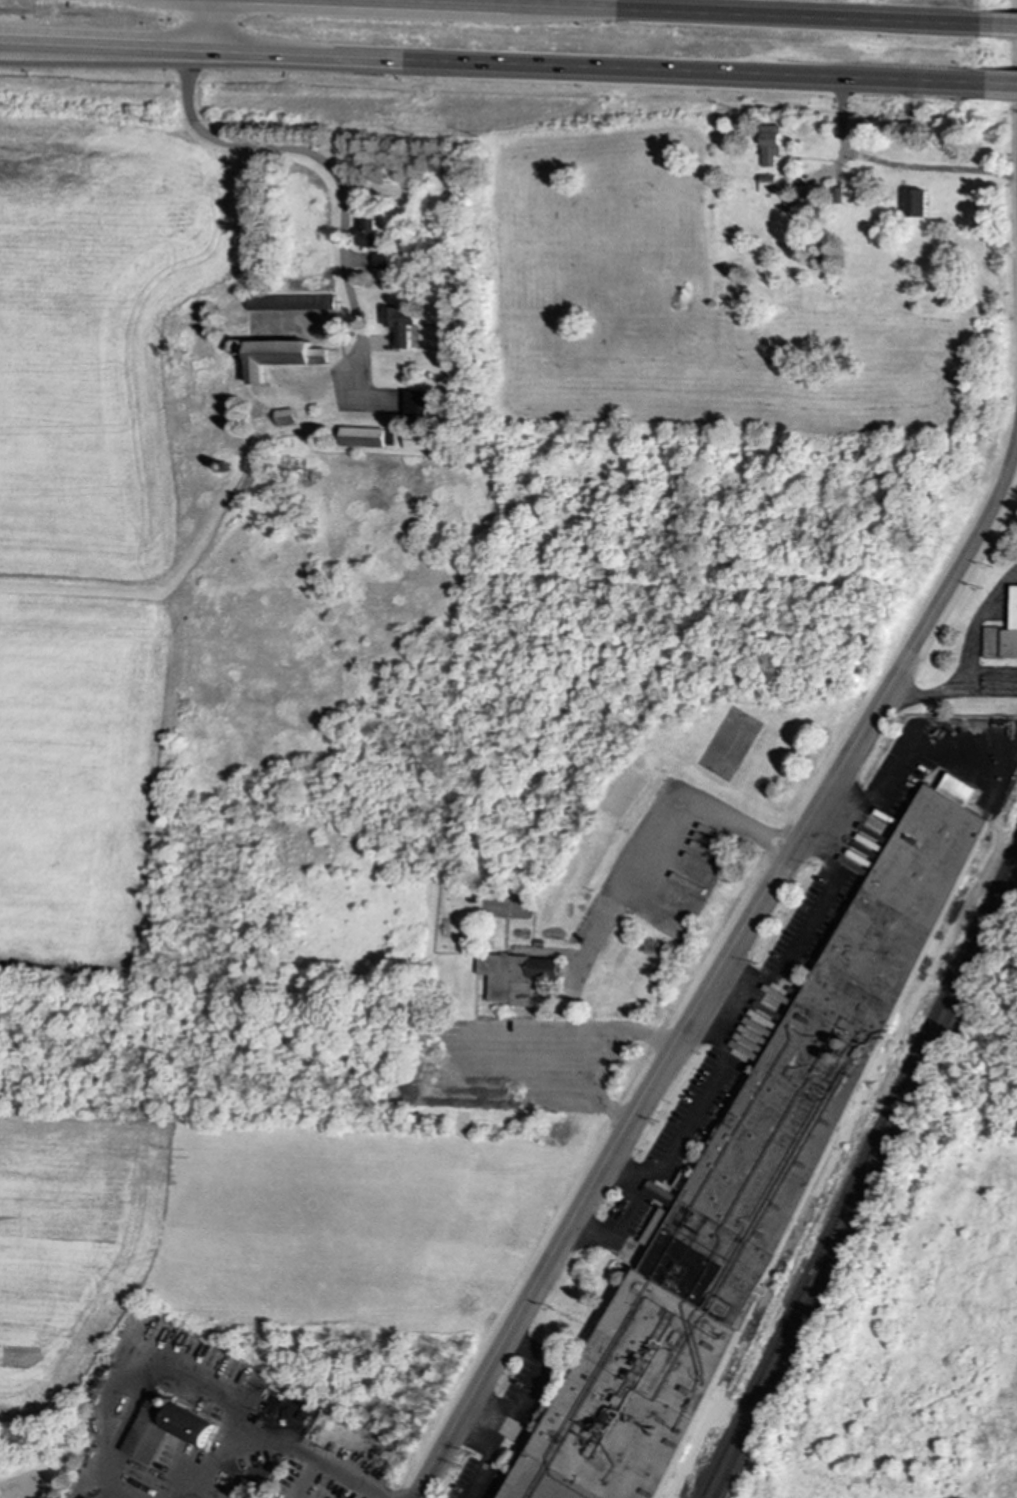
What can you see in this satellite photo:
road: (642, 14)
road: (1004, 26)
road: (198, 27)
road: (211, 27)
road: (20, 49)
road: (492, 67)
road: (1001, 84)
road: (844, 141)
building: (770, 144)
road: (326, 167)
road: (930, 168)
building: (766, 183)
building: (916, 203)
building: (367, 233)
building: (380, 261)
building: (289, 303)
building: (401, 324)
building: (280, 357)
building: (415, 404)
building: (284, 417)
building: (361, 437)
building: (416, 441)
crop: (91, 508)
building: (1003, 636)
road: (969, 659)
road: (991, 685)
road: (895, 762)
road: (837, 853)
road: (644, 859)
road: (808, 927)
road: (717, 975)
building: (515, 976)
road: (744, 997)
road: (717, 1033)
road: (444, 1042)
road: (603, 1063)
road: (668, 1151)
road: (628, 1172)
railway: (859, 1175)
building: (752, 1180)
railway: (866, 1188)
road: (593, 1230)
crop: (70, 1245)
road: (118, 1395)
road: (516, 1411)
road: (484, 1421)
building: (166, 1428)
road: (281, 1441)
road: (307, 1478)

